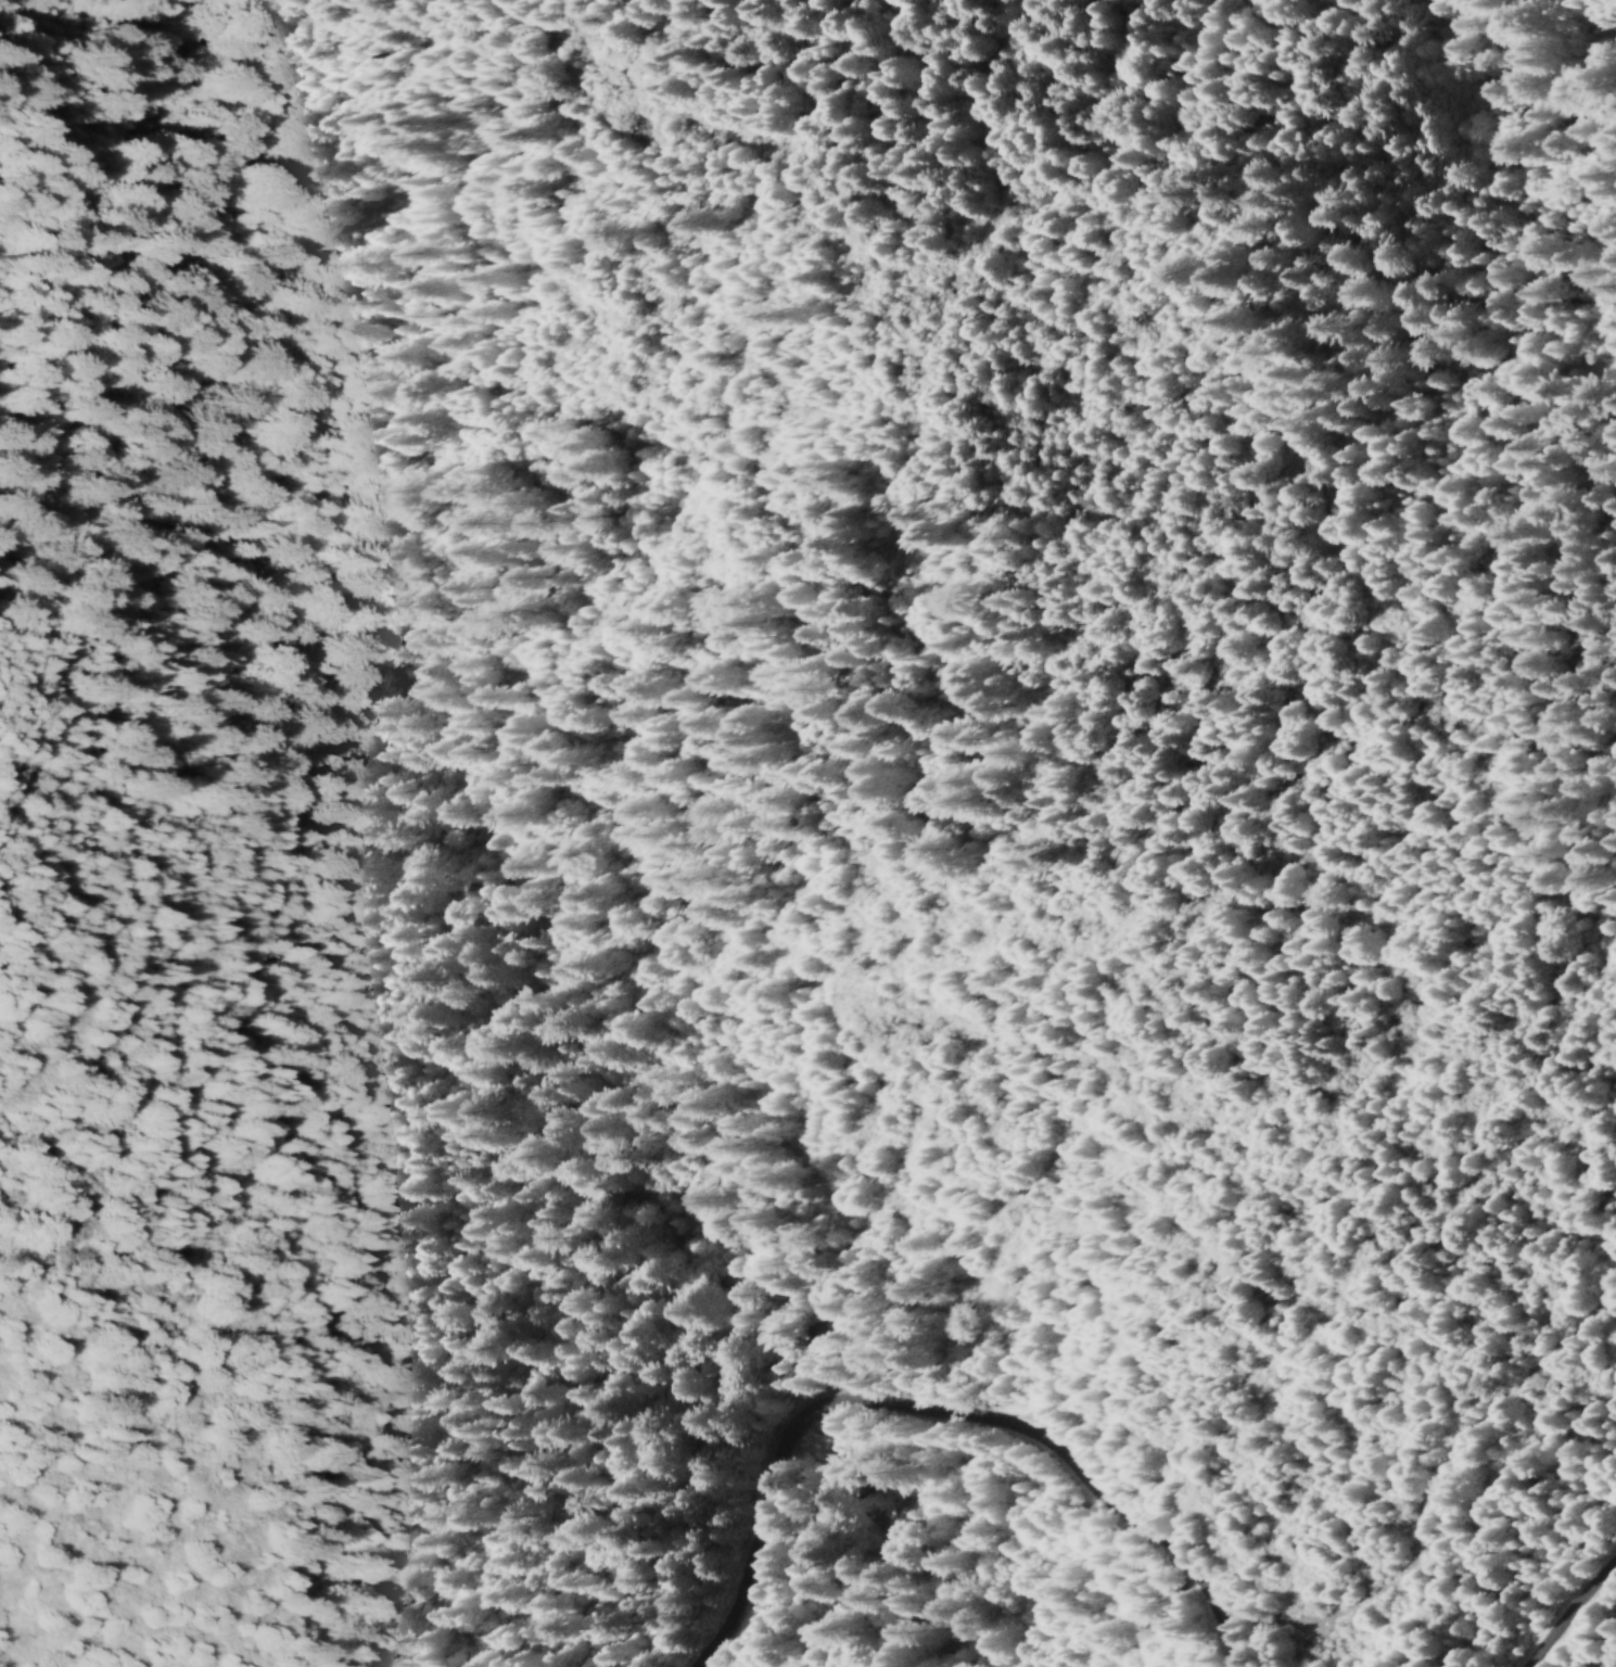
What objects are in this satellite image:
road: (939, 1396)
road: (1560, 1611)

